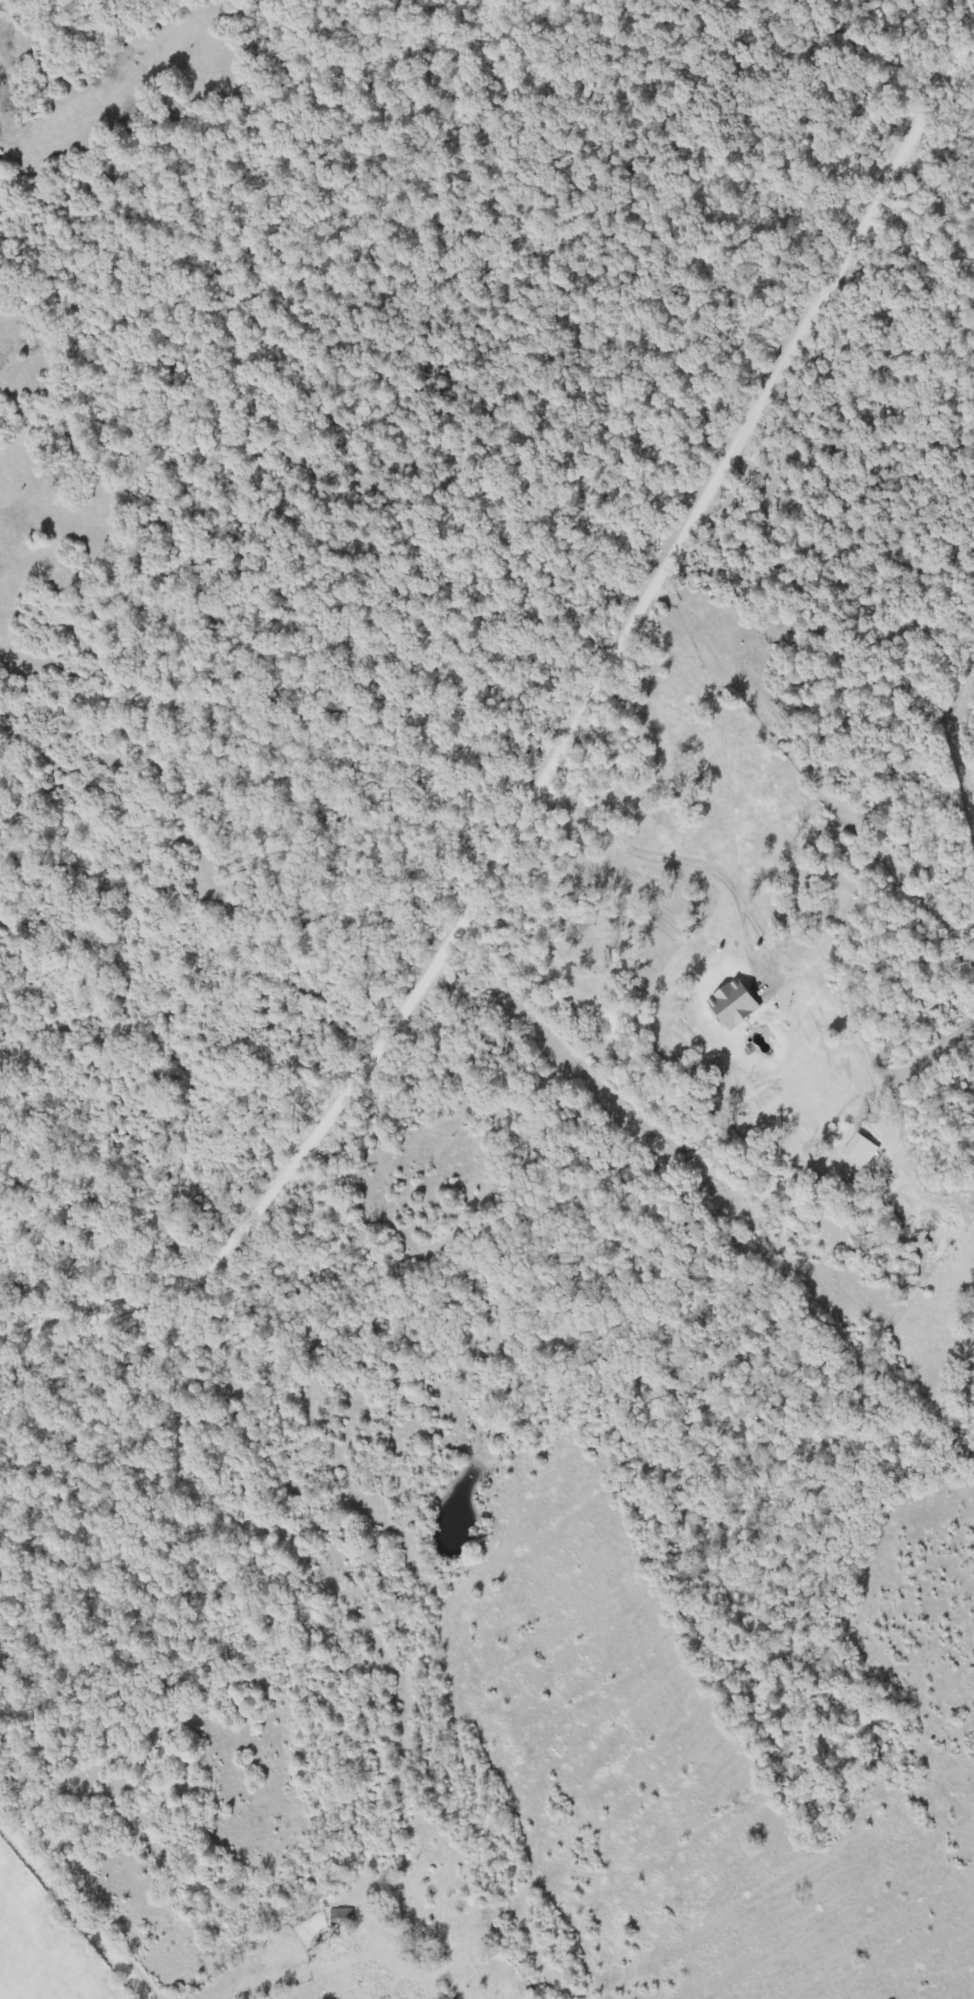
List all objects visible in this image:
road: (536, 777)
building: (731, 1004)
road: (65, 1908)

